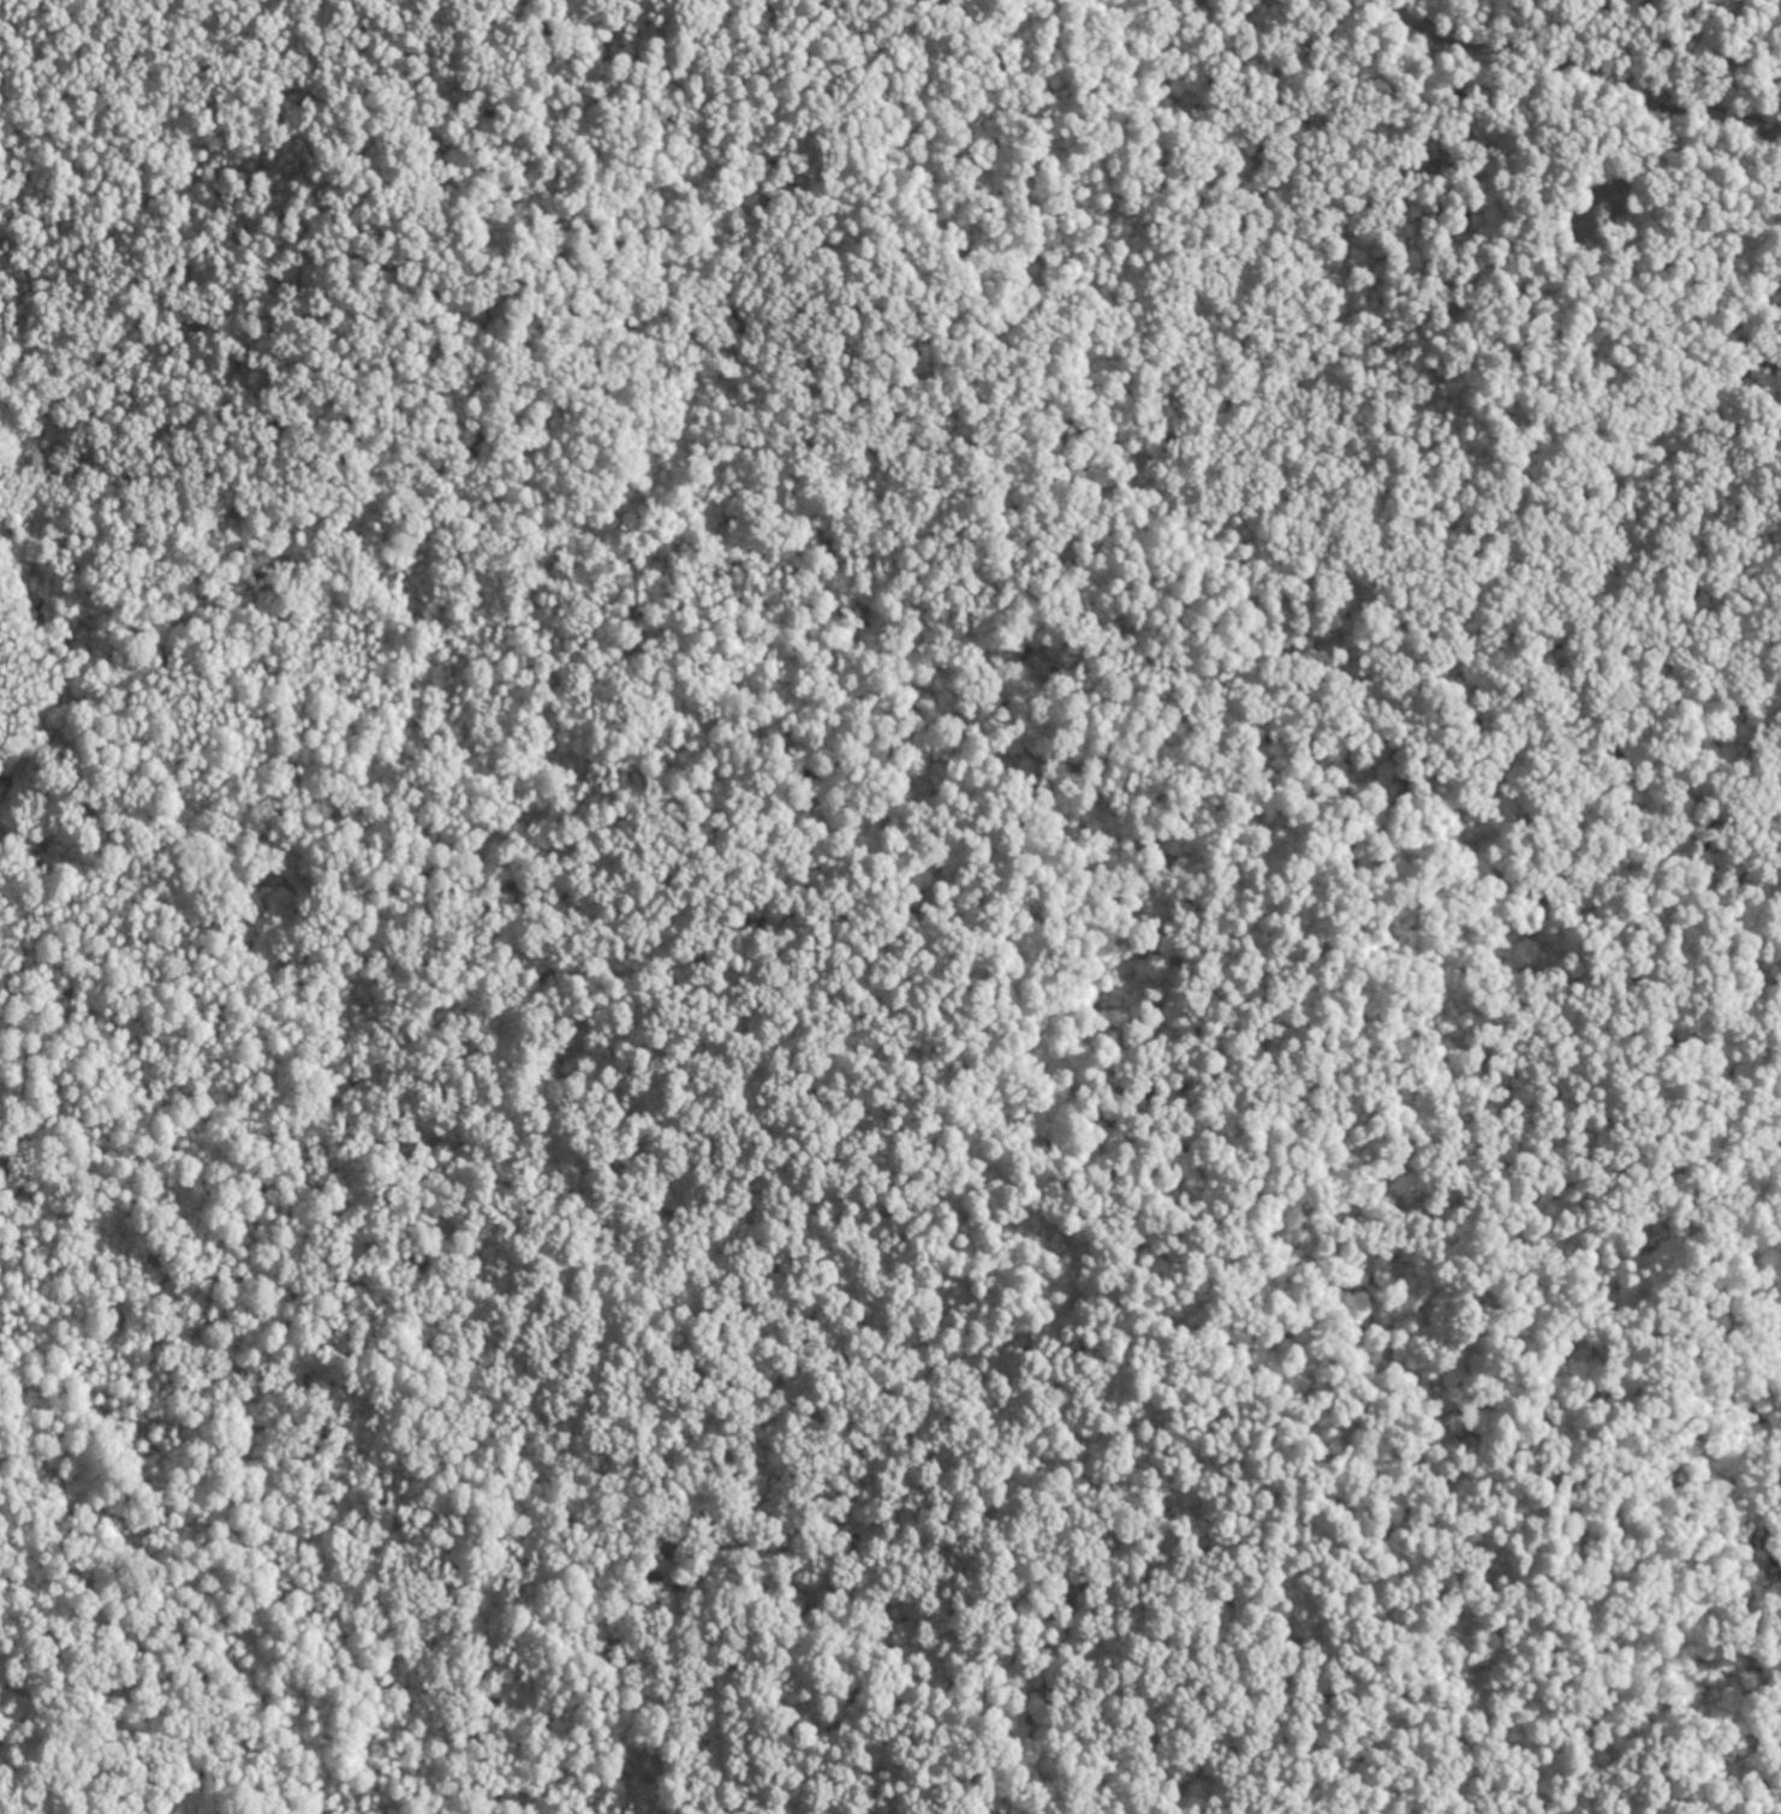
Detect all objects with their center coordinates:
road: (1577, 71)

